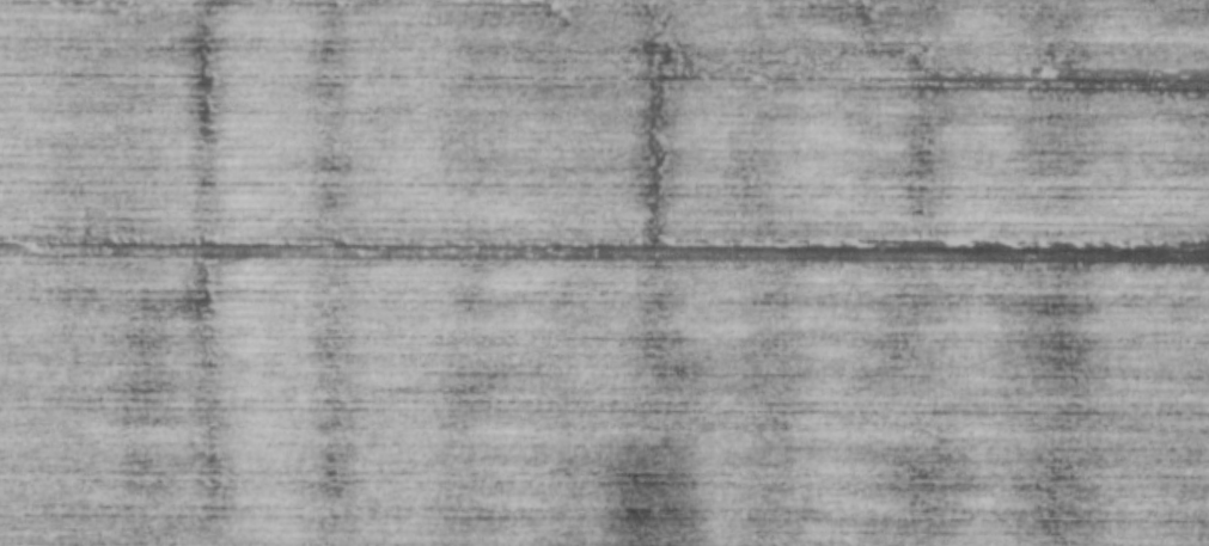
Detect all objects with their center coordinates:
crop: (604, 272)

